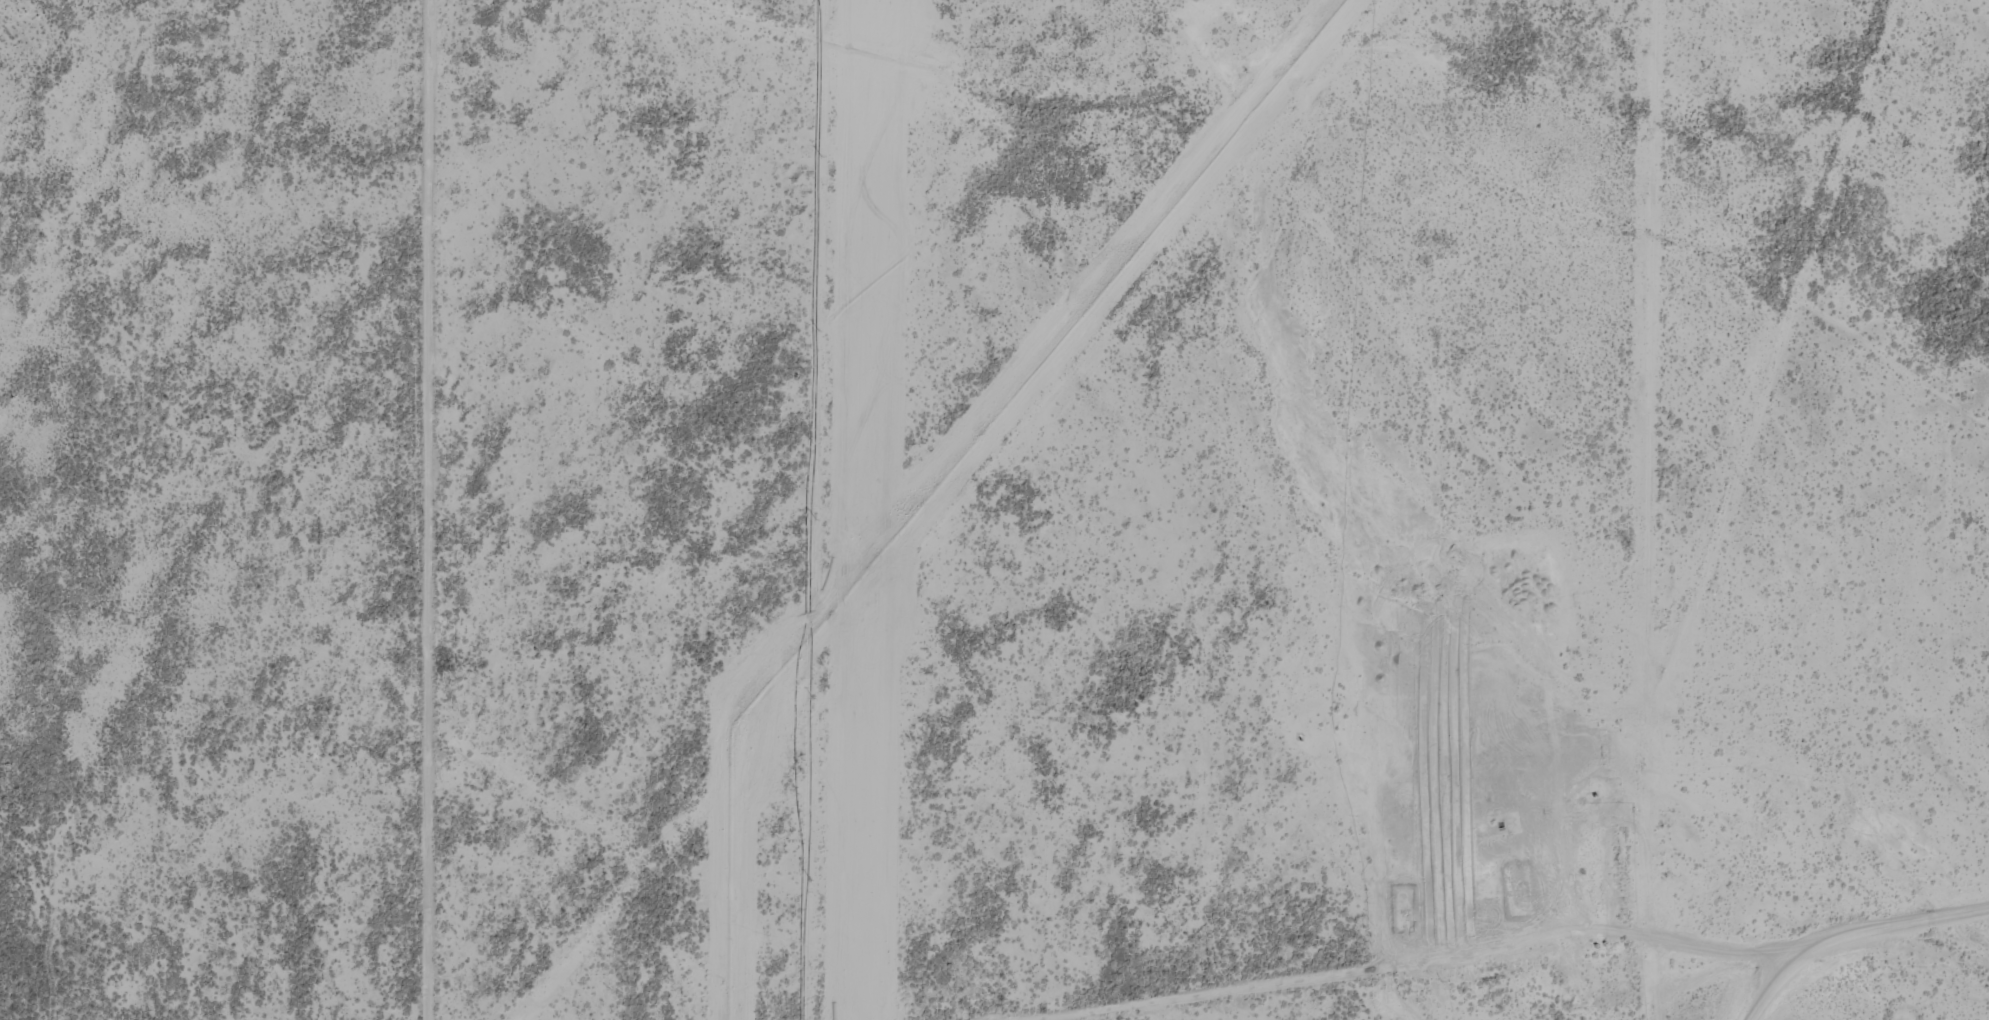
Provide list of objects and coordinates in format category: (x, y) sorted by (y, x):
road: (946, 124)
road: (1543, 226)
road: (1523, 508)
road: (451, 510)
road: (1370, 935)

